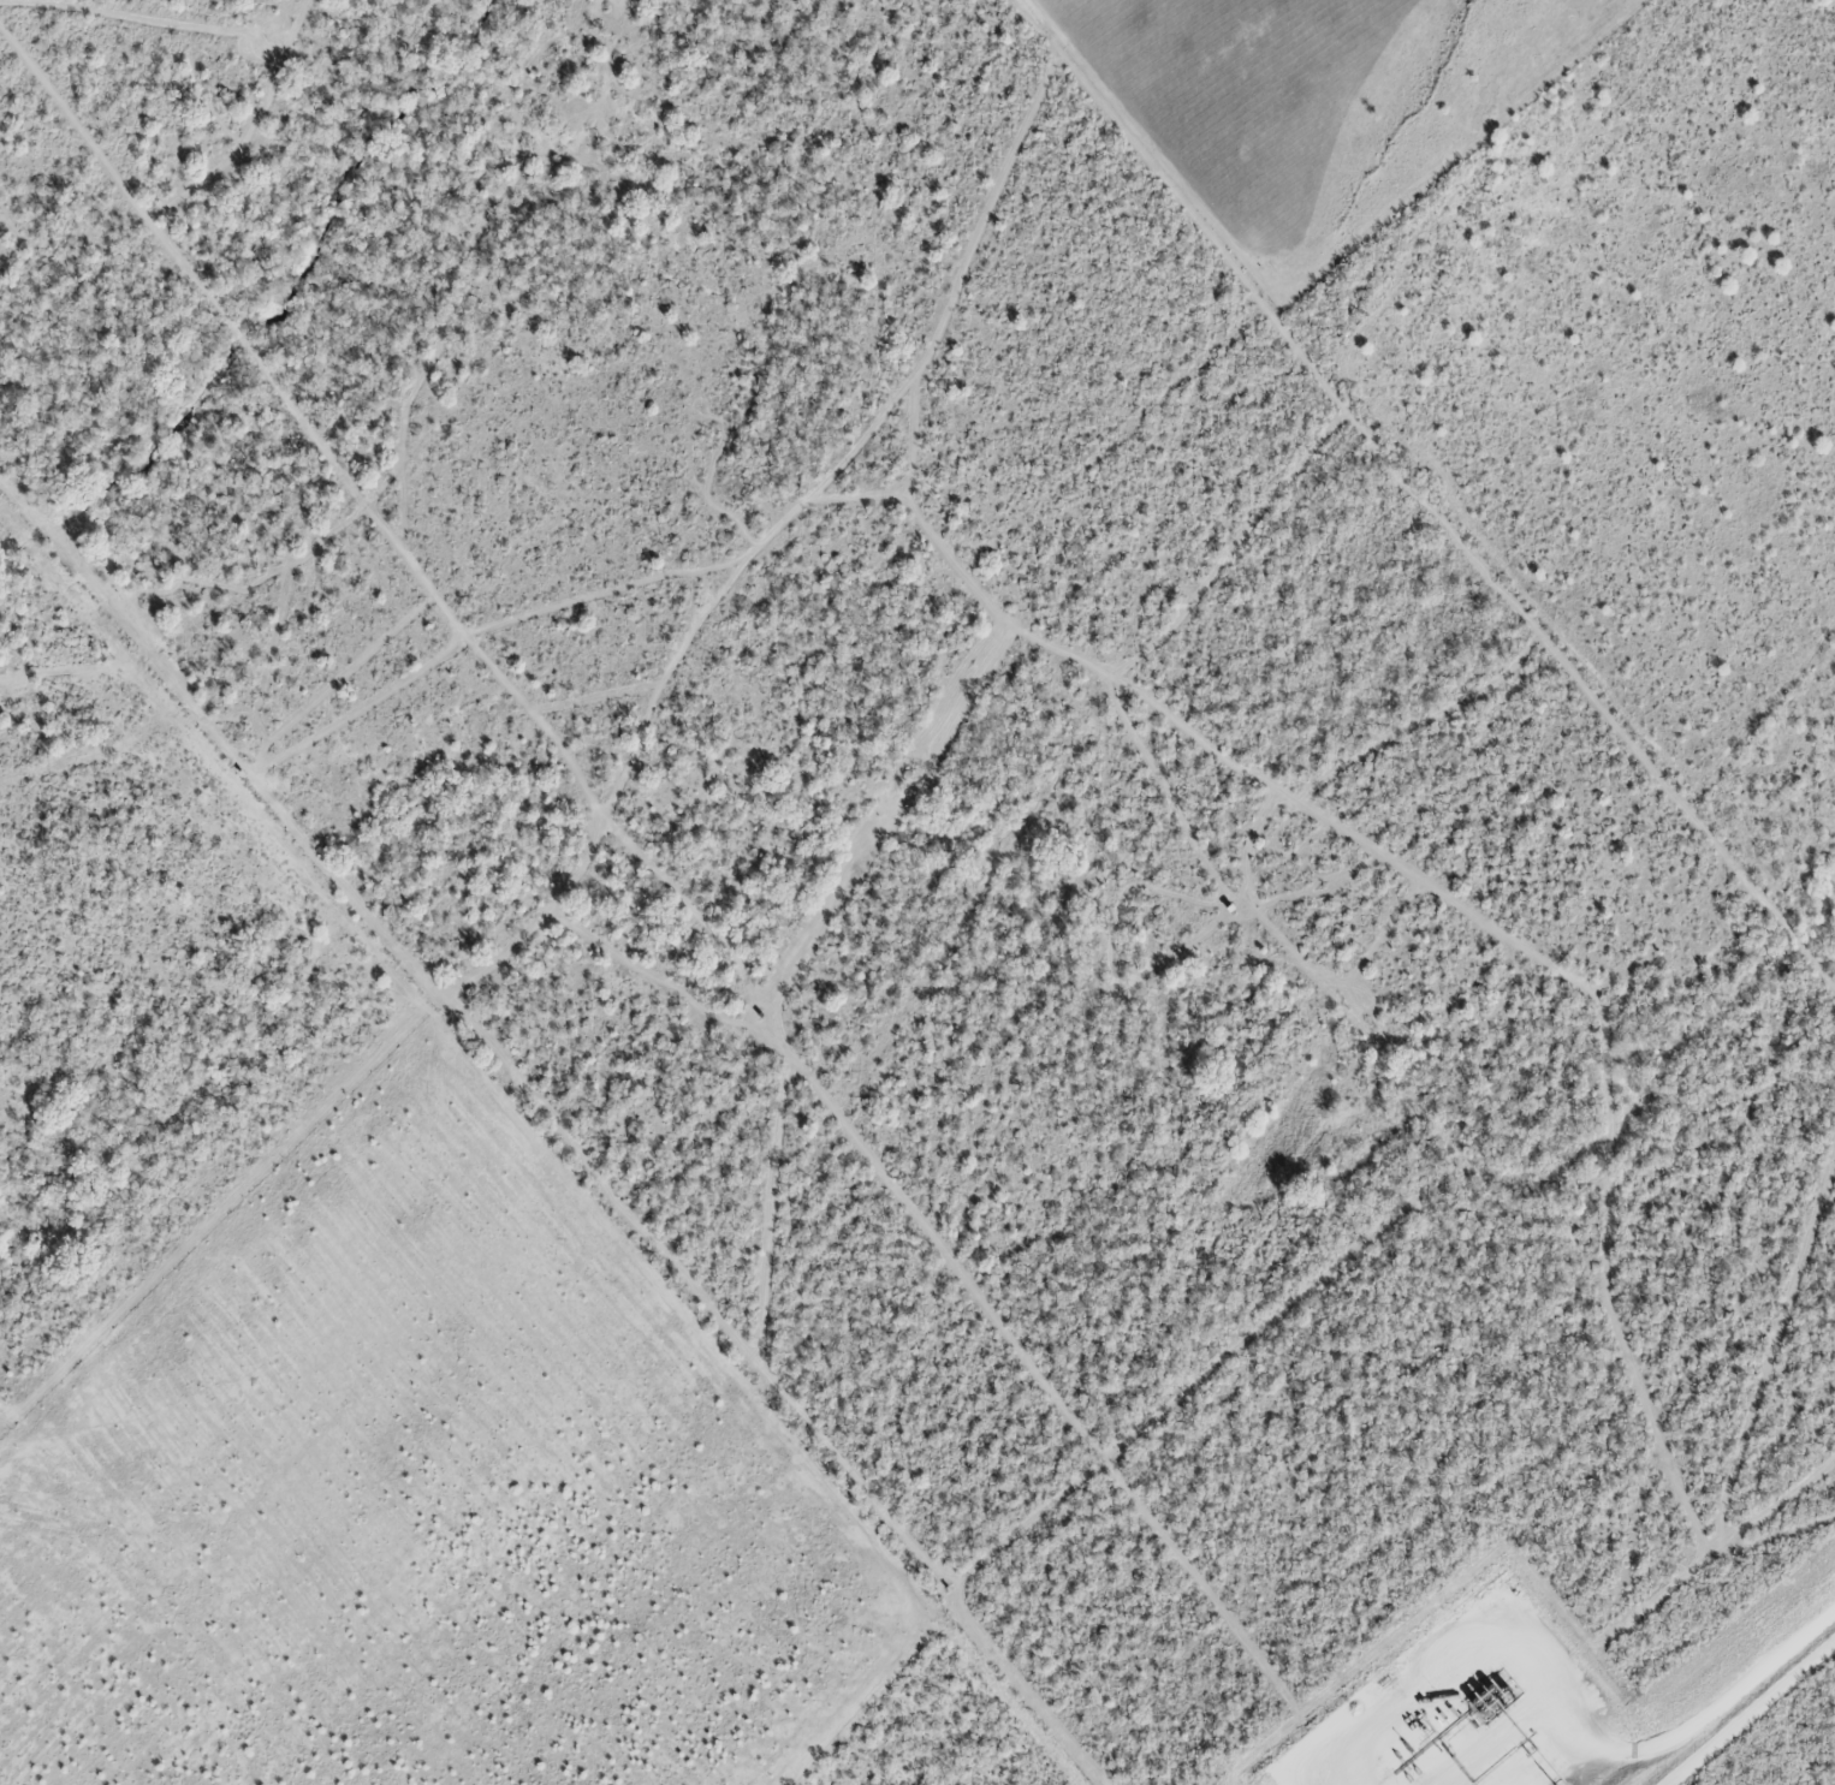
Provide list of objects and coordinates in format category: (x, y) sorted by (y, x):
road: (1751, 1712)

